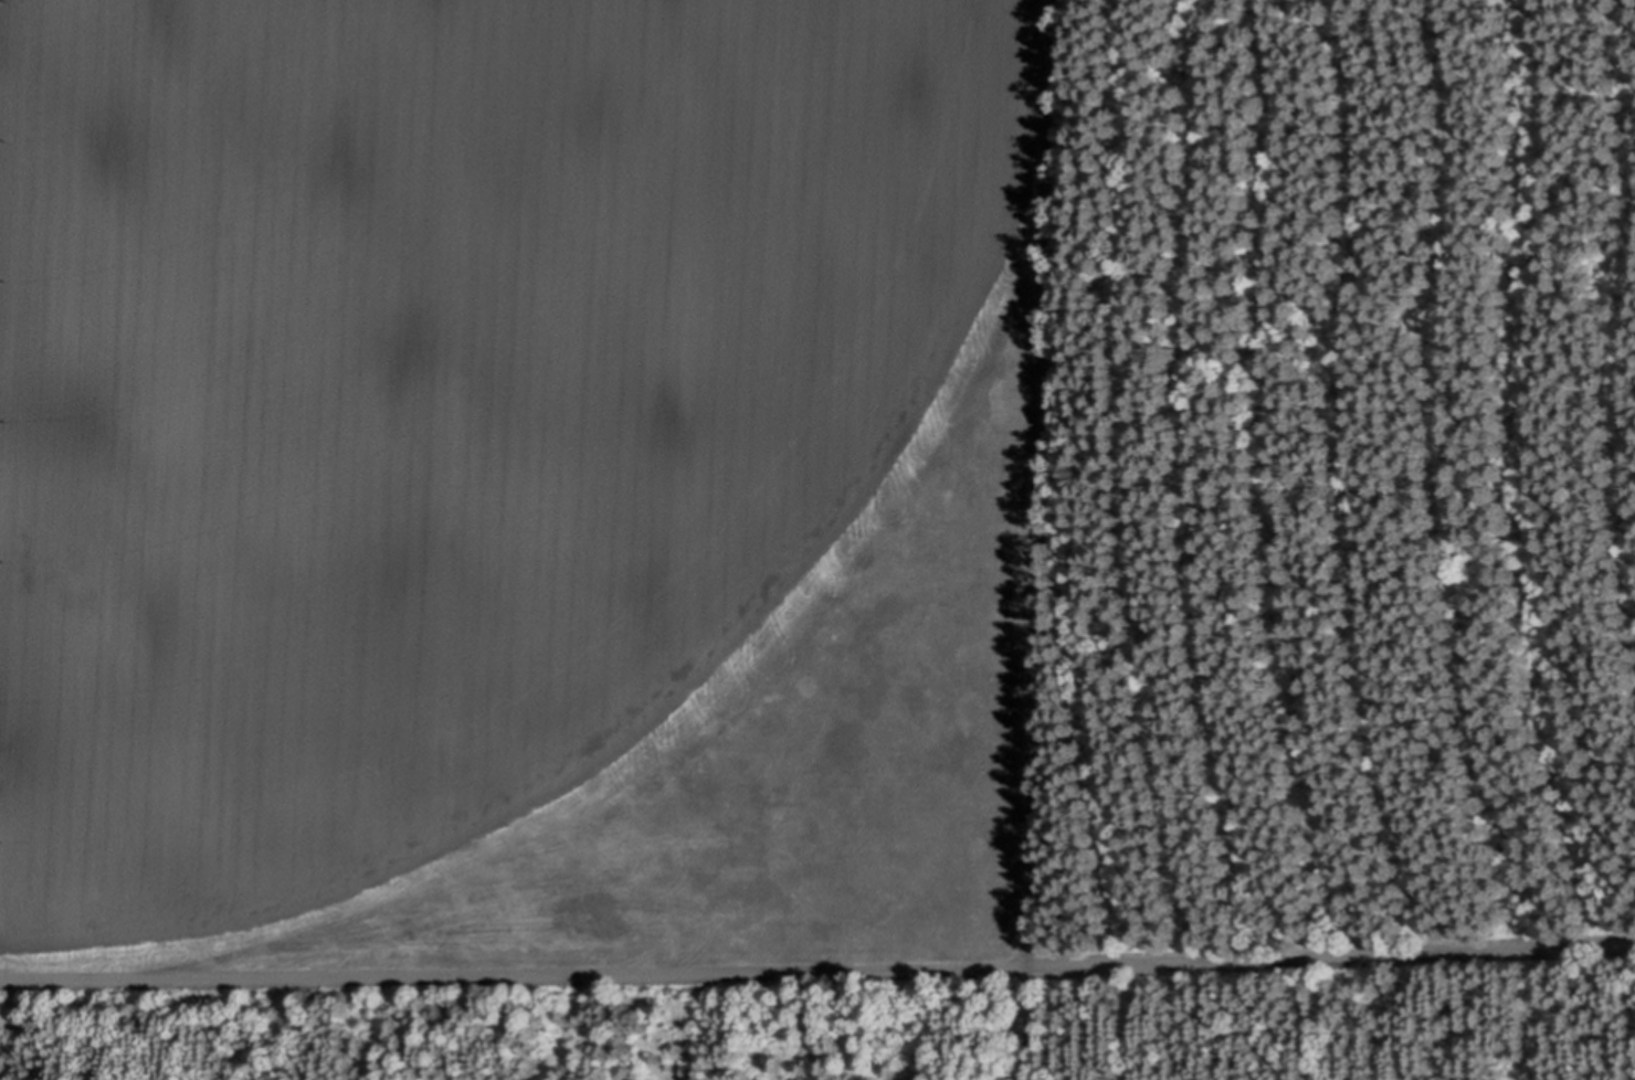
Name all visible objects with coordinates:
crop: (513, 480)
road: (1035, 539)
road: (818, 966)

